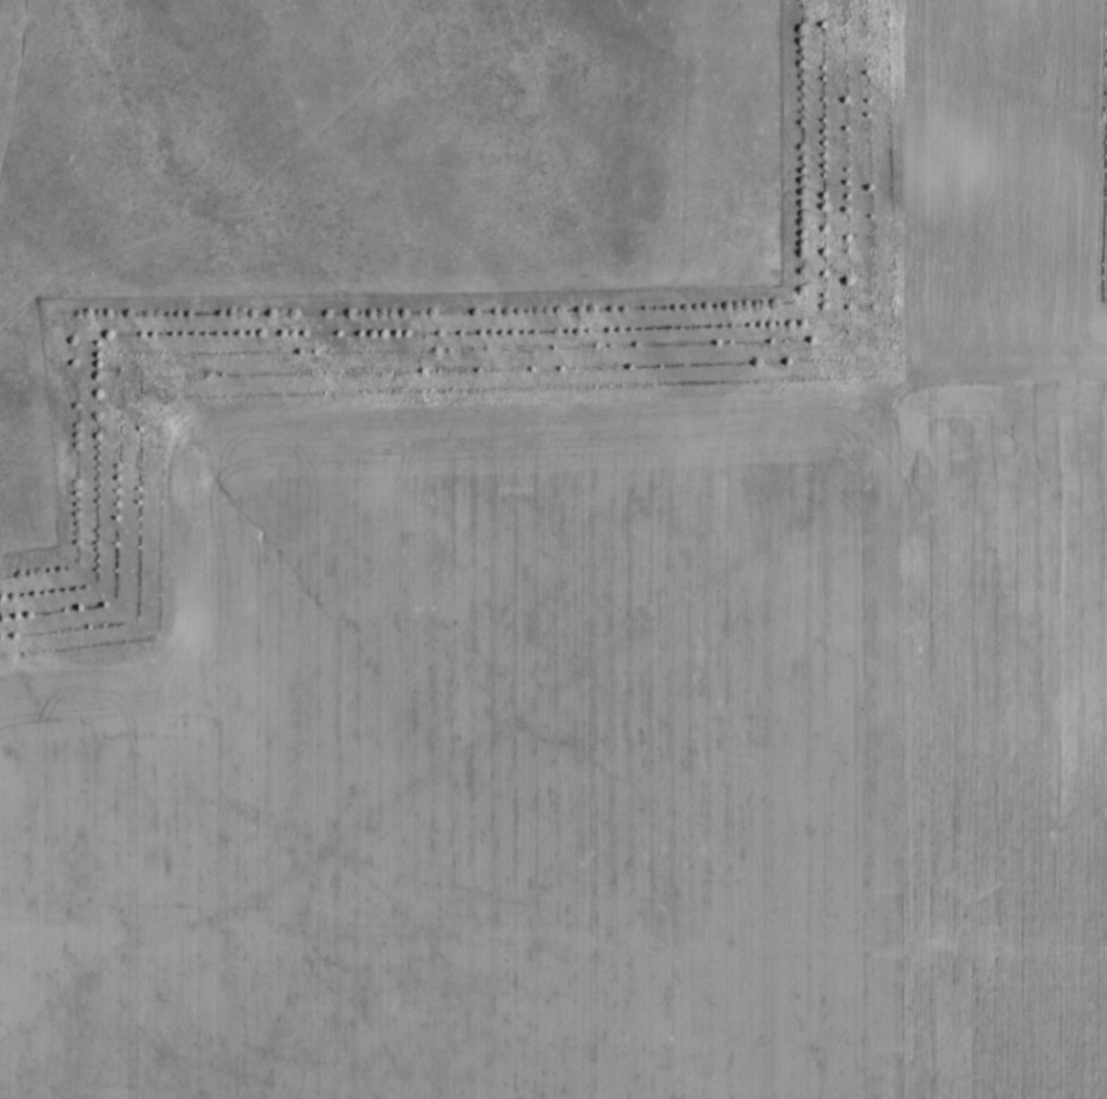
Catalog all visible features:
crop: (623, 700)

